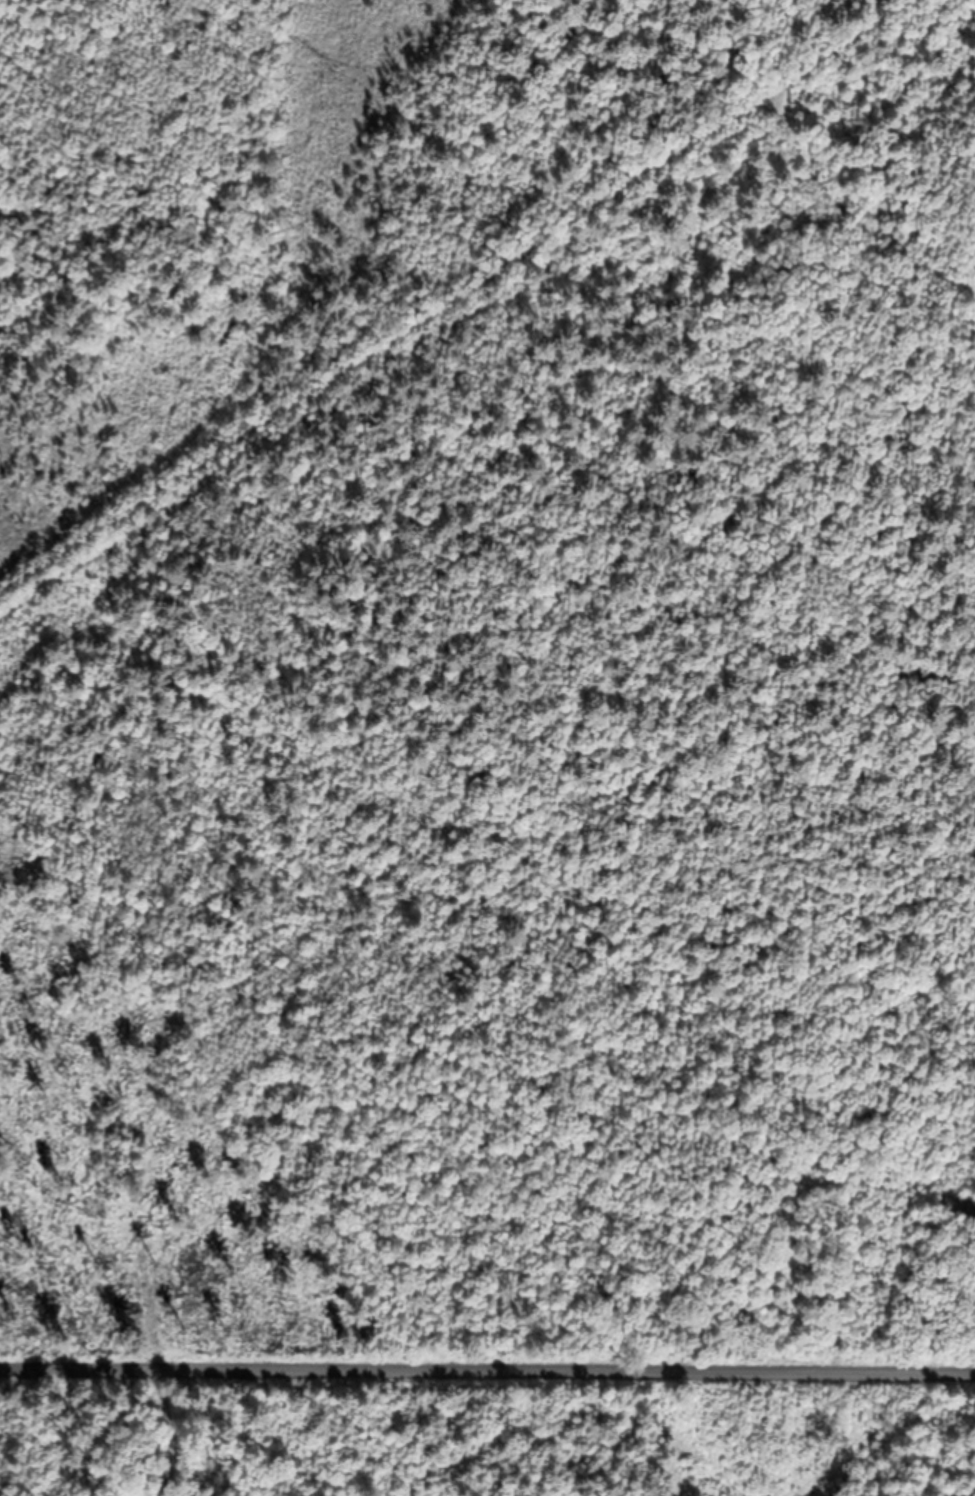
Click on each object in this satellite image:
road: (457, 306)
road: (487, 1375)

